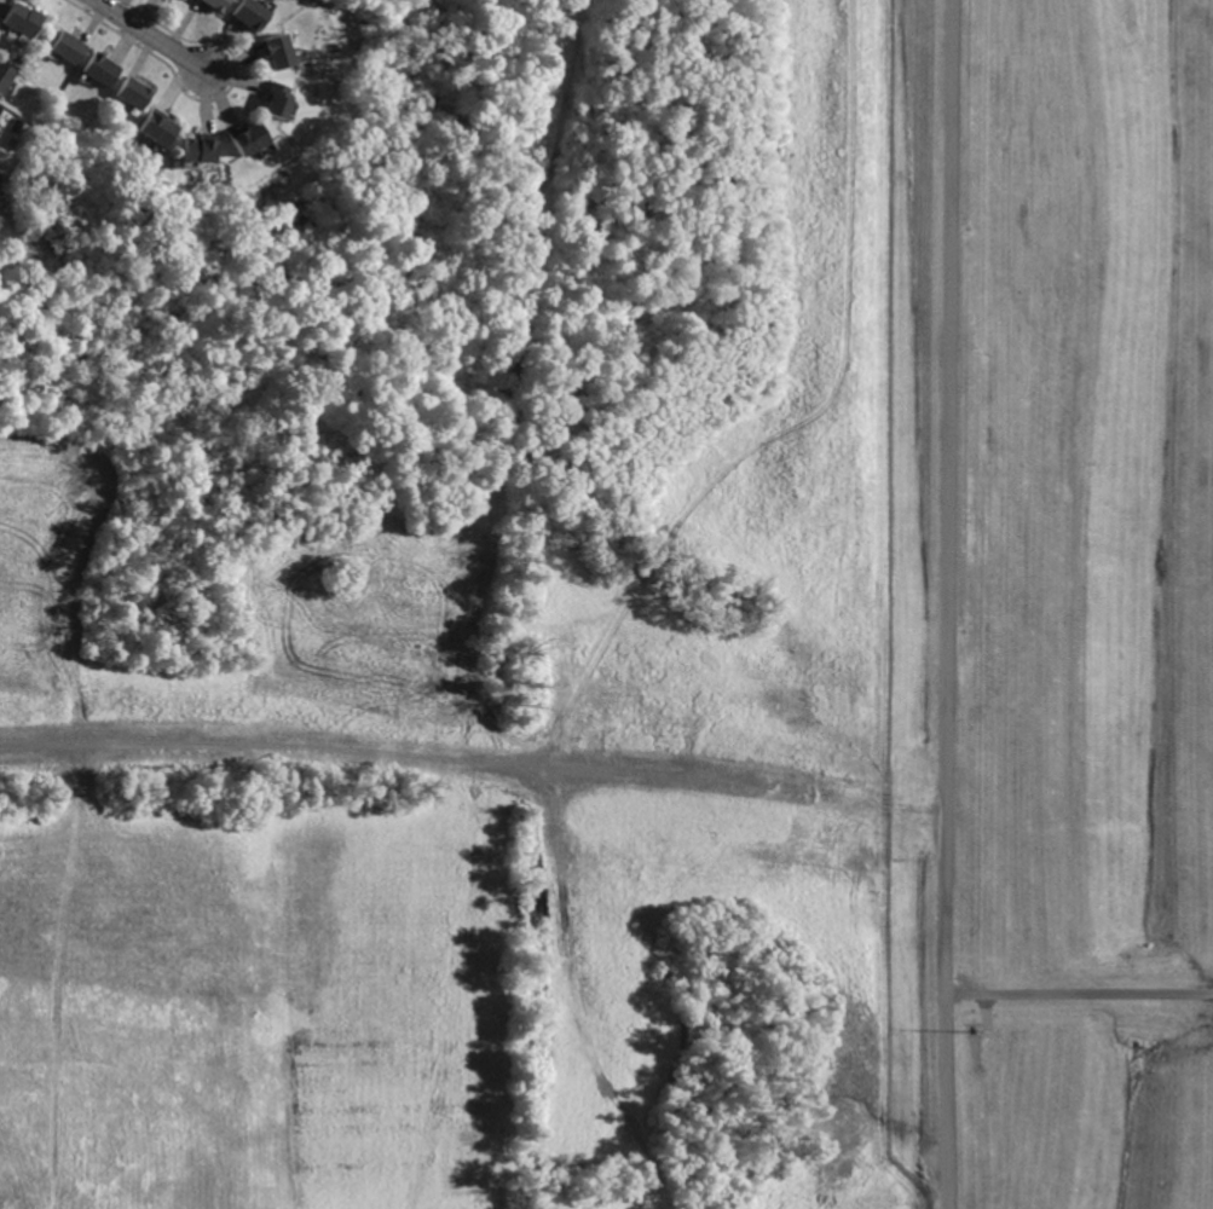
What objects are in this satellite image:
building: (220, 5)
building: (254, 13)
building: (25, 18)
road: (150, 36)
building: (71, 48)
building: (282, 52)
building: (104, 70)
building: (6, 76)
building: (135, 94)
building: (282, 100)
building: (0, 111)
building: (161, 129)
building: (252, 139)
building: (203, 150)
road: (947, 409)
airport: (1052, 602)
road: (392, 759)
road: (1079, 991)
road: (943, 1013)

